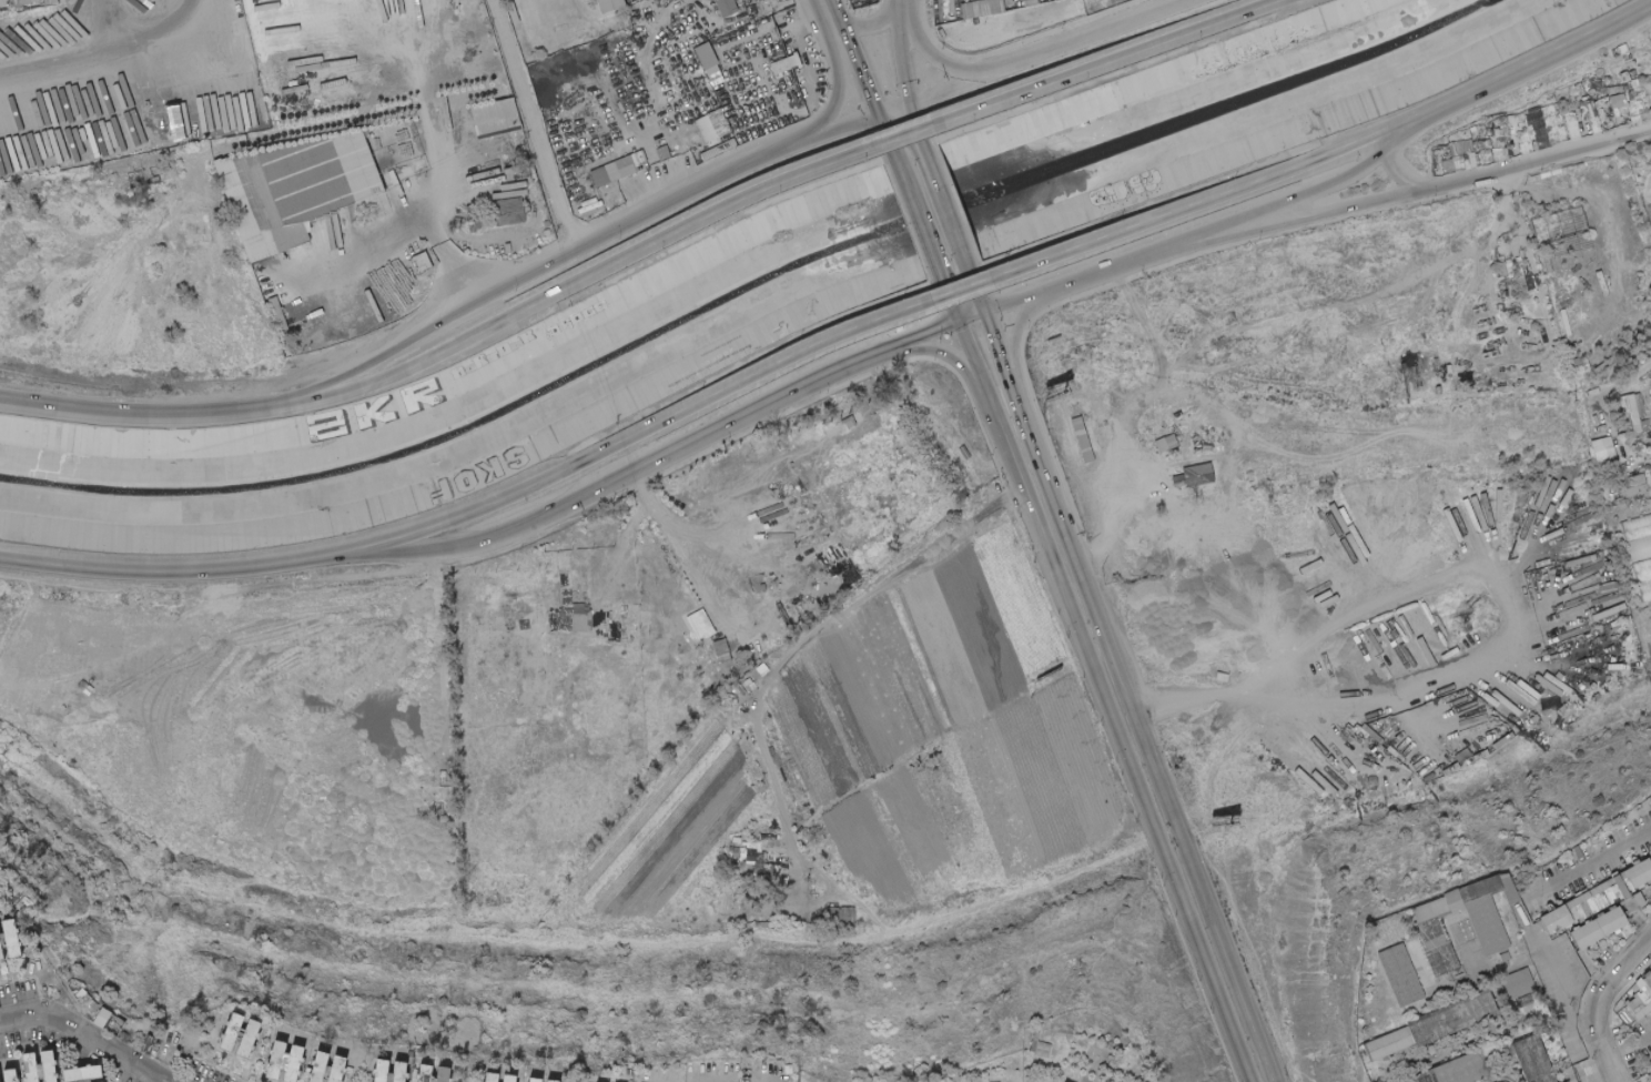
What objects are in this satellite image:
crop: (125, 257)
parking lot: (628, 564)
crop: (308, 645)
park: (545, 722)
crop: (322, 724)
crop: (328, 813)

